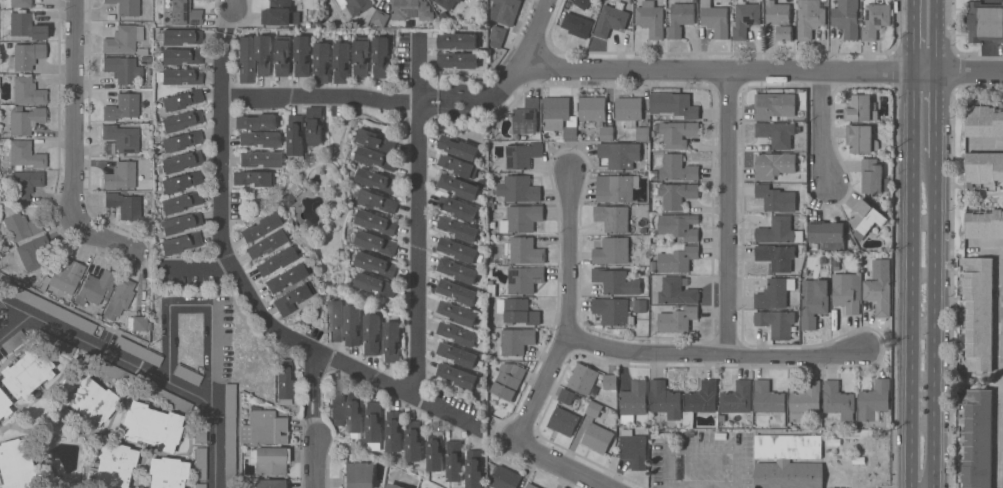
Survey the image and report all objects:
building: (759, 1)
building: (20, 3)
building: (447, 3)
building: (582, 3)
building: (355, 6)
building: (125, 7)
building: (410, 10)
building: (505, 11)
building: (184, 13)
building: (279, 14)
road: (230, 16)
building: (379, 18)
building: (745, 18)
building: (809, 18)
building: (846, 18)
building: (611, 19)
building: (650, 19)
building: (679, 19)
building: (714, 19)
building: (779, 19)
building: (875, 20)
building: (984, 22)
building: (577, 25)
building: (25, 26)
road: (537, 34)
road: (912, 35)
road: (935, 35)
building: (497, 36)
building: (180, 37)
building: (123, 39)
building: (457, 41)
building: (142, 52)
building: (262, 55)
building: (282, 55)
building: (25, 56)
building: (181, 56)
building: (302, 56)
building: (361, 56)
building: (380, 57)
building: (144, 59)
building: (245, 59)
building: (457, 60)
building: (321, 62)
building: (341, 63)
building: (122, 69)
road: (418, 70)
road: (763, 70)
building: (181, 76)
building: (27, 91)
building: (147, 94)
road: (484, 98)
building: (182, 99)
road: (428, 102)
building: (673, 105)
building: (774, 105)
building: (122, 107)
building: (860, 108)
building: (592, 109)
building: (628, 109)
road: (73, 110)
road: (934, 114)
building: (560, 117)
building: (24, 119)
building: (525, 119)
building: (181, 120)
building: (256, 121)
building: (984, 121)
building: (314, 126)
road: (823, 128)
building: (146, 130)
building: (606, 134)
building: (642, 134)
building: (677, 134)
building: (776, 134)
building: (295, 135)
building: (122, 138)
building: (260, 139)
building: (860, 139)
building: (182, 140)
building: (375, 141)
building: (458, 147)
road: (988, 147)
road: (419, 153)
building: (619, 154)
building: (24, 155)
building: (521, 155)
building: (376, 158)
building: (260, 159)
building: (182, 161)
building: (458, 165)
building: (777, 167)
building: (984, 167)
building: (677, 168)
building: (120, 175)
building: (653, 176)
building: (872, 176)
building: (253, 178)
building: (376, 180)
building: (181, 181)
building: (24, 184)
building: (457, 187)
building: (616, 188)
building: (517, 189)
building: (654, 192)
building: (677, 194)
building: (775, 198)
building: (378, 201)
building: (180, 202)
building: (124, 205)
building: (491, 206)
building: (458, 208)
road: (730, 213)
building: (866, 216)
building: (520, 218)
building: (613, 219)
building: (376, 222)
building: (180, 223)
building: (984, 224)
building: (20, 226)
building: (678, 226)
building: (260, 227)
building: (458, 228)
building: (778, 231)
building: (828, 235)
road: (104, 236)
road: (224, 237)
building: (181, 242)
building: (376, 242)
building: (266, 243)
road: (989, 249)
building: (457, 250)
building: (525, 251)
building: (611, 251)
building: (32, 252)
building: (776, 257)
building: (677, 260)
building: (276, 261)
building: (822, 261)
building: (375, 264)
road: (195, 267)
building: (458, 271)
building: (489, 272)
building: (63, 275)
building: (286, 277)
road: (911, 279)
building: (524, 280)
building: (616, 281)
building: (375, 284)
building: (879, 287)
building: (95, 288)
building: (491, 290)
building: (676, 292)
building: (458, 293)
building: (774, 293)
building: (846, 293)
building: (119, 298)
building: (292, 298)
building: (813, 302)
road: (201, 304)
building: (639, 306)
building: (52, 309)
building: (517, 311)
building: (612, 311)
building: (457, 313)
road: (569, 313)
building: (978, 314)
building: (335, 320)
building: (677, 320)
building: (775, 322)
building: (136, 323)
road: (933, 323)
building: (352, 325)
building: (371, 334)
building: (457, 334)
building: (13, 341)
building: (391, 341)
building: (515, 341)
building: (53, 343)
building: (138, 351)
building: (457, 354)
road: (715, 356)
road: (142, 370)
building: (26, 372)
building: (187, 375)
building: (456, 375)
building: (284, 379)
building: (506, 380)
building: (583, 380)
building: (610, 382)
building: (138, 383)
road: (397, 389)
building: (86, 396)
building: (569, 397)
building: (737, 398)
building: (337, 399)
building: (664, 400)
building: (874, 400)
building: (633, 401)
building: (699, 401)
building: (804, 401)
building: (837, 401)
building: (769, 403)
building: (4, 405)
building: (593, 409)
building: (354, 413)
road: (317, 419)
building: (563, 421)
building: (374, 422)
building: (151, 426)
building: (200, 427)
building: (264, 428)
building: (393, 432)
building: (689, 434)
building: (229, 435)
building: (597, 438)
building: (977, 439)
building: (413, 441)
building: (834, 442)
road: (712, 443)
building: (787, 446)
building: (633, 449)
building: (434, 451)
building: (269, 460)
building: (454, 460)
building: (858, 460)
road: (316, 461)
building: (200, 463)
road: (561, 465)
building: (20, 466)
building: (113, 466)
road: (666, 466)
building: (473, 469)
building: (167, 472)
building: (358, 475)
building: (788, 475)
building: (504, 478)
building: (268, 483)
building: (199, 485)
building: (394, 486)
building: (531, 486)

